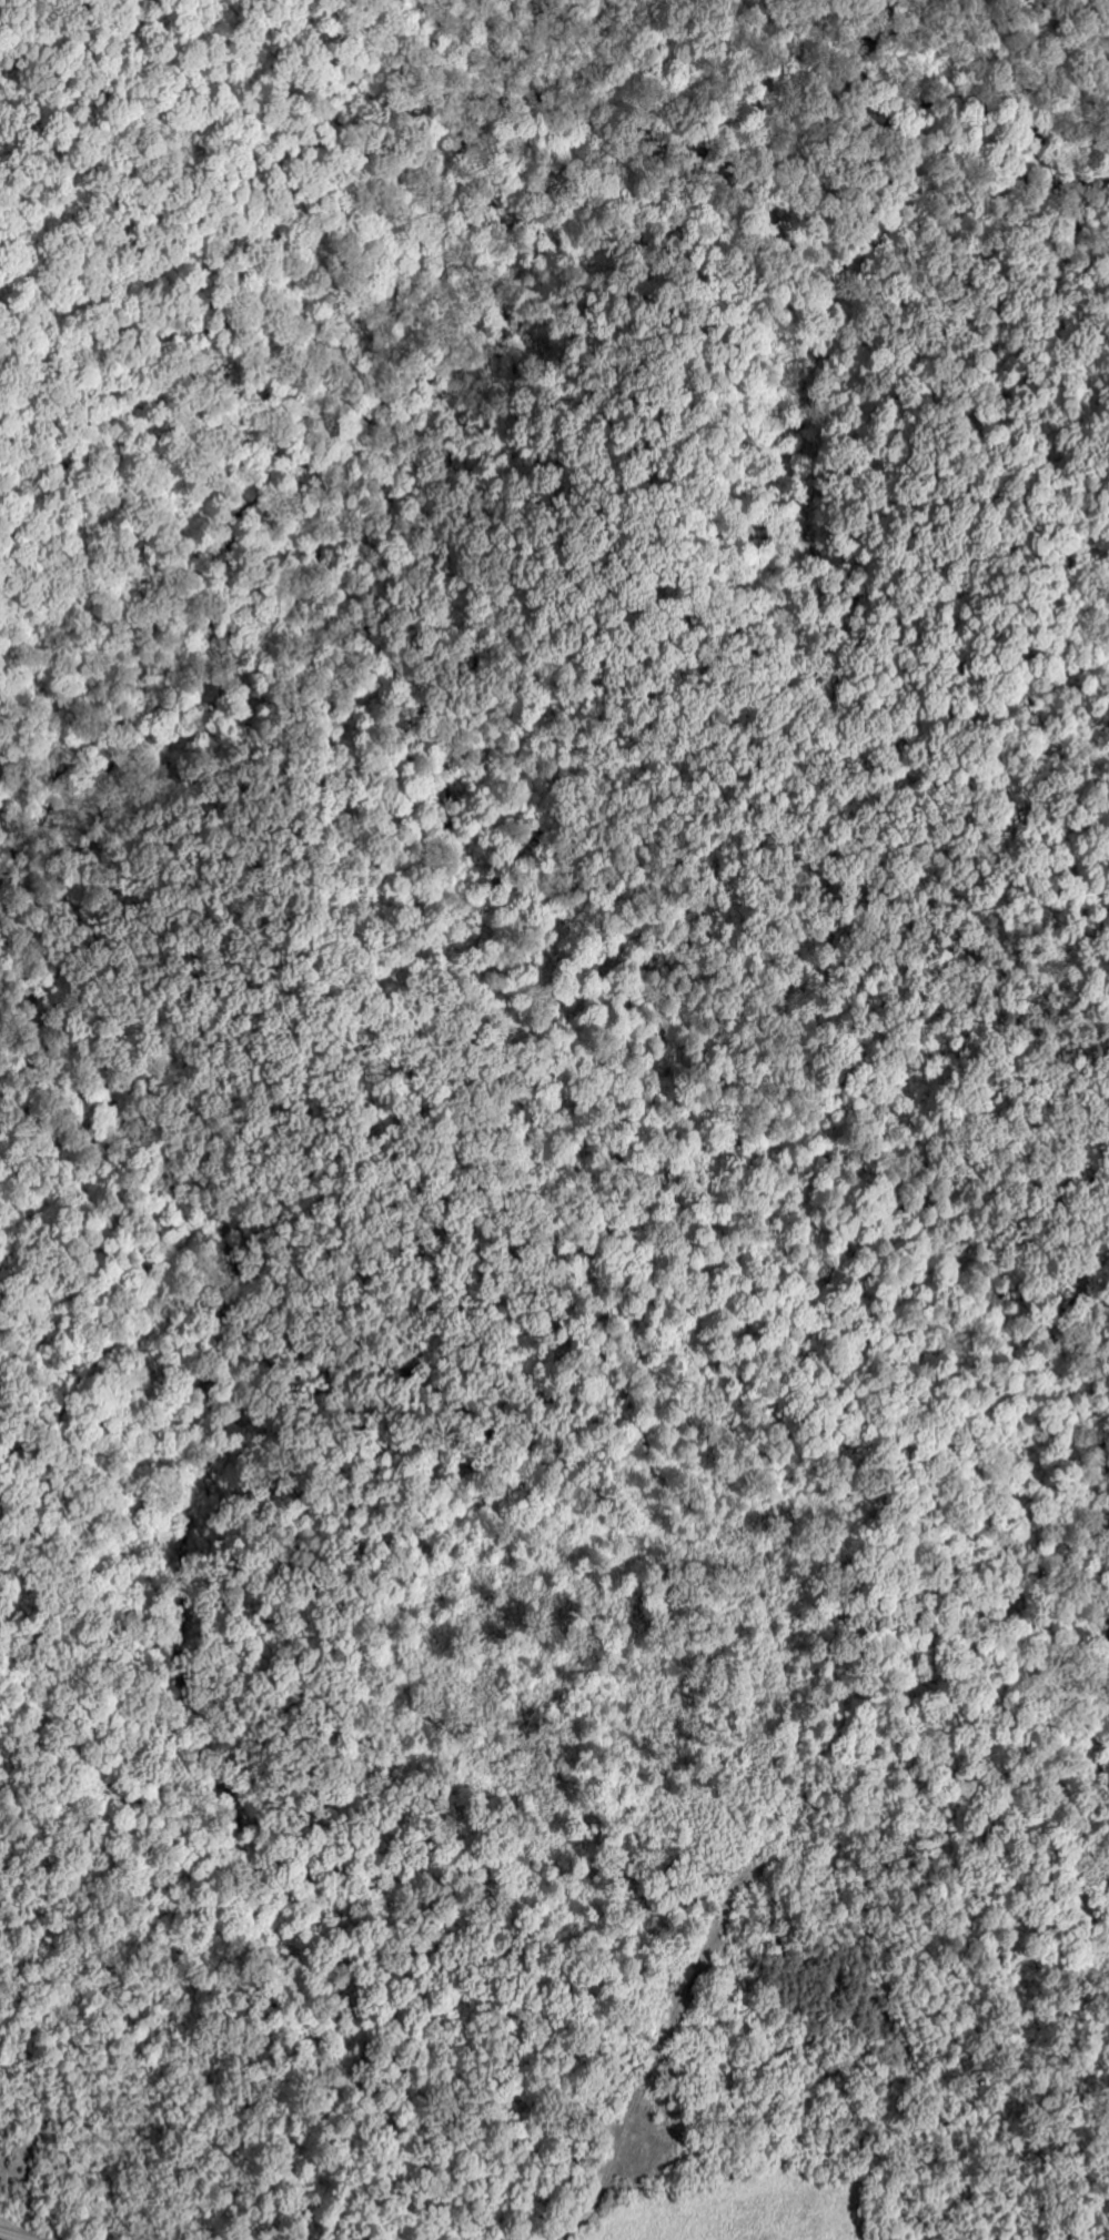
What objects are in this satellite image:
road: (4, 2238)

